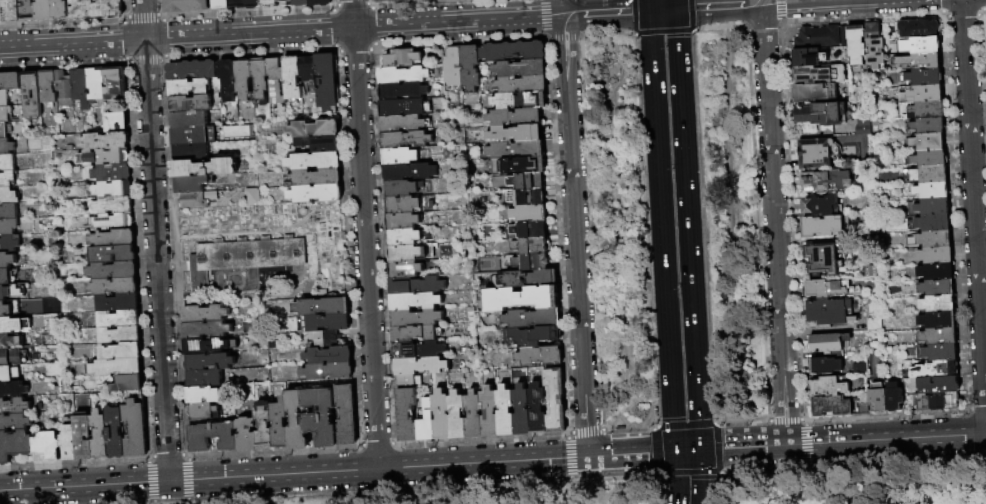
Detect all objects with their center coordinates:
building: (427, 0)
building: (392, 1)
building: (288, 2)
road: (760, 2)
road: (802, 2)
building: (302, 3)
building: (321, 3)
building: (221, 4)
building: (237, 4)
building: (253, 4)
building: (269, 4)
road: (648, 5)
road: (674, 5)
building: (186, 6)
road: (717, 7)
road: (561, 8)
building: (96, 9)
building: (44, 10)
building: (60, 10)
road: (662, 10)
traffic signals: (675, 10)
building: (11, 11)
building: (27, 11)
traffic signals: (649, 11)
building: (1, 12)
road: (605, 13)
road: (352, 14)
road: (689, 14)
road: (632, 17)
road: (457, 22)
building: (985, 25)
road: (706, 28)
building: (918, 28)
road: (690, 31)
road: (661, 32)
building: (843, 36)
building: (816, 37)
road: (176, 38)
building: (856, 45)
building: (922, 45)
building: (873, 46)
building: (515, 52)
building: (807, 57)
building: (402, 59)
building: (919, 61)
building: (454, 67)
building: (471, 68)
building: (308, 69)
building: (521, 69)
building: (192, 70)
building: (818, 74)
building: (404, 76)
building: (924, 77)
building: (244, 79)
building: (293, 79)
building: (229, 80)
building: (261, 81)
building: (10, 82)
building: (277, 82)
building: (116, 84)
building: (328, 84)
building: (96, 85)
building: (522, 85)
building: (48, 88)
building: (81, 88)
building: (189, 88)
building: (64, 89)
building: (403, 92)
building: (813, 92)
building: (919, 94)
building: (32, 96)
building: (5, 99)
building: (521, 101)
building: (191, 104)
building: (405, 108)
building: (921, 110)
building: (821, 114)
building: (6, 115)
building: (515, 117)
building: (189, 120)
building: (863, 121)
building: (116, 122)
building: (404, 124)
building: (927, 126)
building: (315, 129)
building: (861, 130)
building: (3, 132)
building: (516, 134)
building: (190, 136)
building: (406, 140)
building: (105, 142)
building: (927, 142)
building: (320, 144)
building: (6, 147)
building: (517, 150)
building: (191, 153)
building: (813, 153)
building: (401, 157)
building: (105, 158)
building: (929, 158)
building: (315, 162)
building: (7, 164)
building: (520, 166)
building: (204, 169)
building: (411, 172)
building: (112, 173)
building: (930, 174)
building: (315, 179)
building: (7, 180)
building: (825, 181)
building: (528, 182)
building: (191, 185)
road: (685, 187)
road: (699, 188)
building: (403, 189)
building: (114, 190)
building: (931, 190)
building: (317, 194)
building: (7, 196)
building: (253, 197)
building: (528, 198)
road: (659, 198)
building: (198, 200)
building: (113, 206)
building: (405, 206)
building: (818, 206)
building: (931, 206)
road: (974, 208)
road: (755, 212)
building: (9, 213)
building: (529, 214)
building: (404, 222)
building: (114, 223)
building: (932, 223)
road: (774, 224)
park: (673, 225)
road: (731, 225)
building: (821, 226)
building: (9, 228)
building: (530, 231)
park: (279, 232)
road: (574, 236)
building: (404, 238)
building: (114, 239)
building: (934, 239)
road: (155, 240)
building: (9, 245)
building: (531, 247)
road: (366, 248)
building: (412, 253)
building: (113, 255)
building: (934, 255)
building: (246, 257)
building: (823, 258)
building: (7, 261)
building: (532, 263)
building: (407, 270)
building: (114, 271)
building: (934, 271)
building: (6, 277)
building: (530, 279)
building: (417, 286)
building: (115, 287)
building: (936, 287)
building: (826, 289)
building: (5, 293)
building: (523, 299)
building: (416, 302)
building: (119, 303)
building: (936, 304)
building: (28, 305)
building: (323, 307)
building: (5, 310)
building: (828, 312)
building: (204, 314)
building: (417, 319)
building: (533, 319)
building: (120, 320)
building: (937, 320)
building: (326, 323)
building: (873, 324)
building: (5, 325)
building: (207, 330)
building: (416, 334)
building: (120, 336)
building: (937, 336)
building: (532, 337)
building: (325, 339)
building: (10, 342)
building: (828, 344)
building: (208, 347)
building: (419, 351)
building: (122, 352)
building: (940, 352)
building: (329, 356)
building: (540, 356)
building: (10, 358)
building: (210, 362)
building: (824, 366)
building: (422, 367)
building: (116, 368)
building: (933, 370)
building: (330, 373)
building: (9, 374)
building: (205, 379)
building: (409, 381)
building: (129, 384)
road: (710, 384)
building: (937, 385)
building: (827, 386)
building: (13, 390)
building: (204, 395)
building: (876, 398)
building: (893, 398)
building: (556, 401)
building: (935, 401)
building: (830, 406)
building: (14, 407)
road: (698, 407)
building: (859, 407)
building: (538, 410)
building: (522, 411)
building: (204, 412)
building: (506, 412)
building: (490, 413)
building: (319, 415)
building: (346, 416)
building: (407, 416)
building: (441, 416)
building: (457, 416)
building: (474, 416)
traffic signals: (672, 417)
road: (672, 419)
road: (783, 420)
building: (296, 421)
building: (15, 422)
road: (740, 422)
building: (427, 423)
building: (280, 424)
road: (684, 425)
building: (265, 426)
building: (135, 429)
building: (116, 432)
building: (100, 435)
building: (247, 435)
road: (714, 436)
building: (84, 437)
building: (211, 437)
road: (886, 439)
building: (69, 441)
building: (15, 446)
road: (751, 447)
building: (48, 448)
road: (708, 449)
traffic signals: (722, 449)
road: (652, 451)
road: (687, 451)
road: (631, 453)
traffic signals: (646, 453)
road: (716, 461)
road: (294, 473)
road: (686, 473)
road: (701, 476)
road: (677, 478)
traffic signals: (701, 478)
park: (705, 487)
road: (717, 489)
road: (645, 492)

